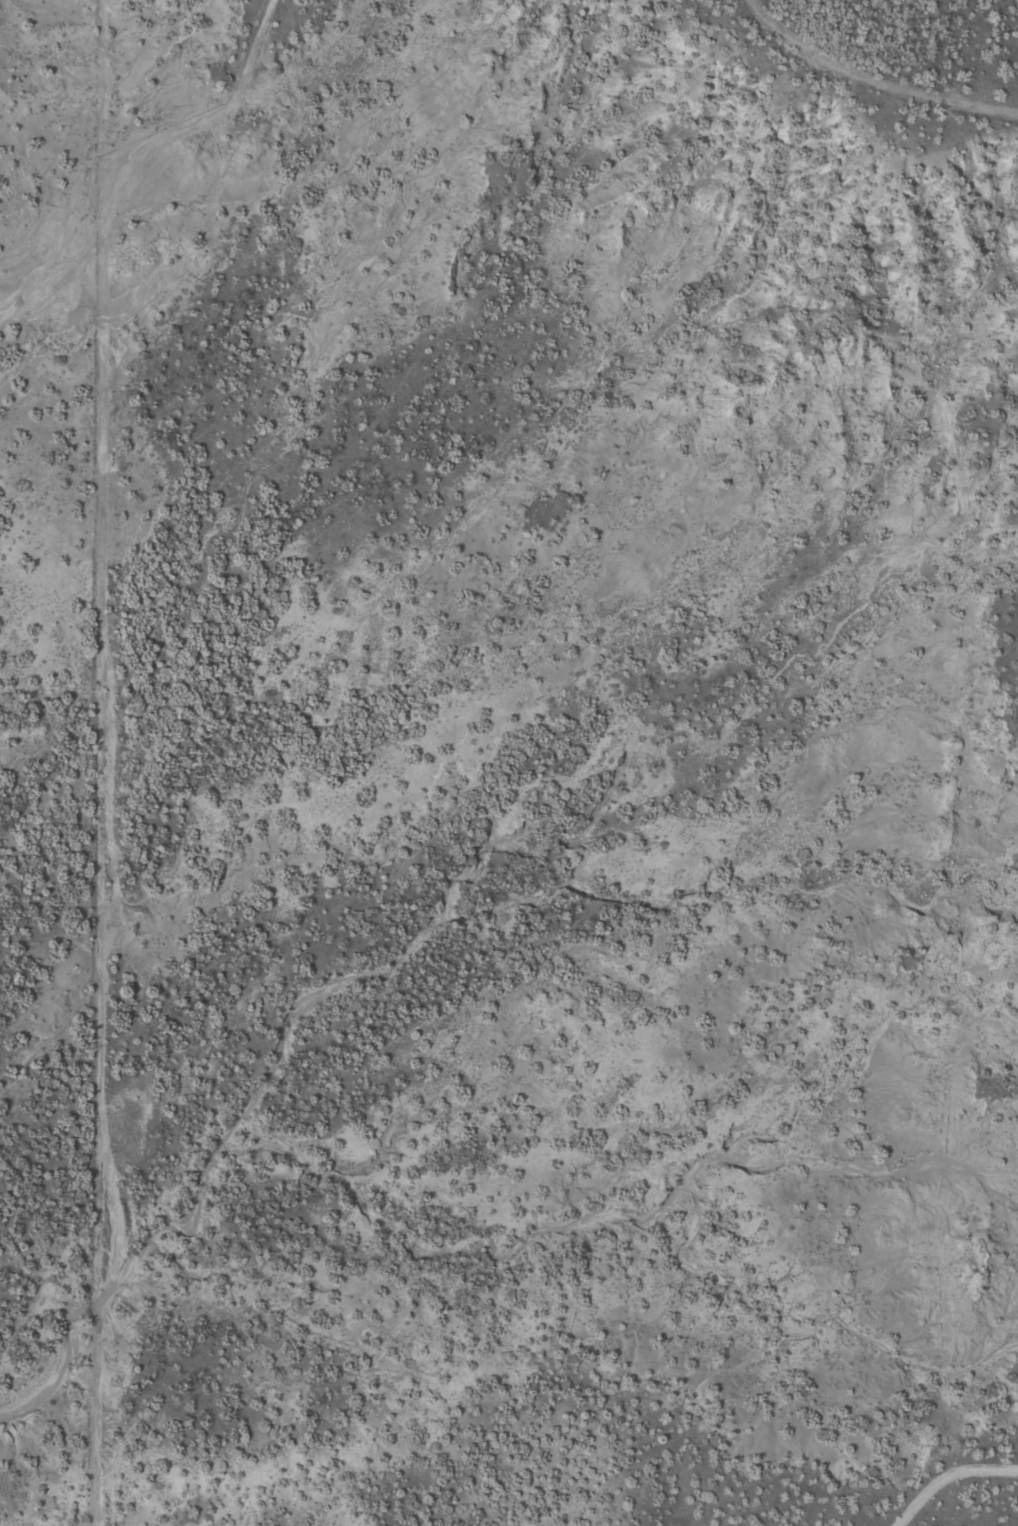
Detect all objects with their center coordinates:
road: (987, 1517)

